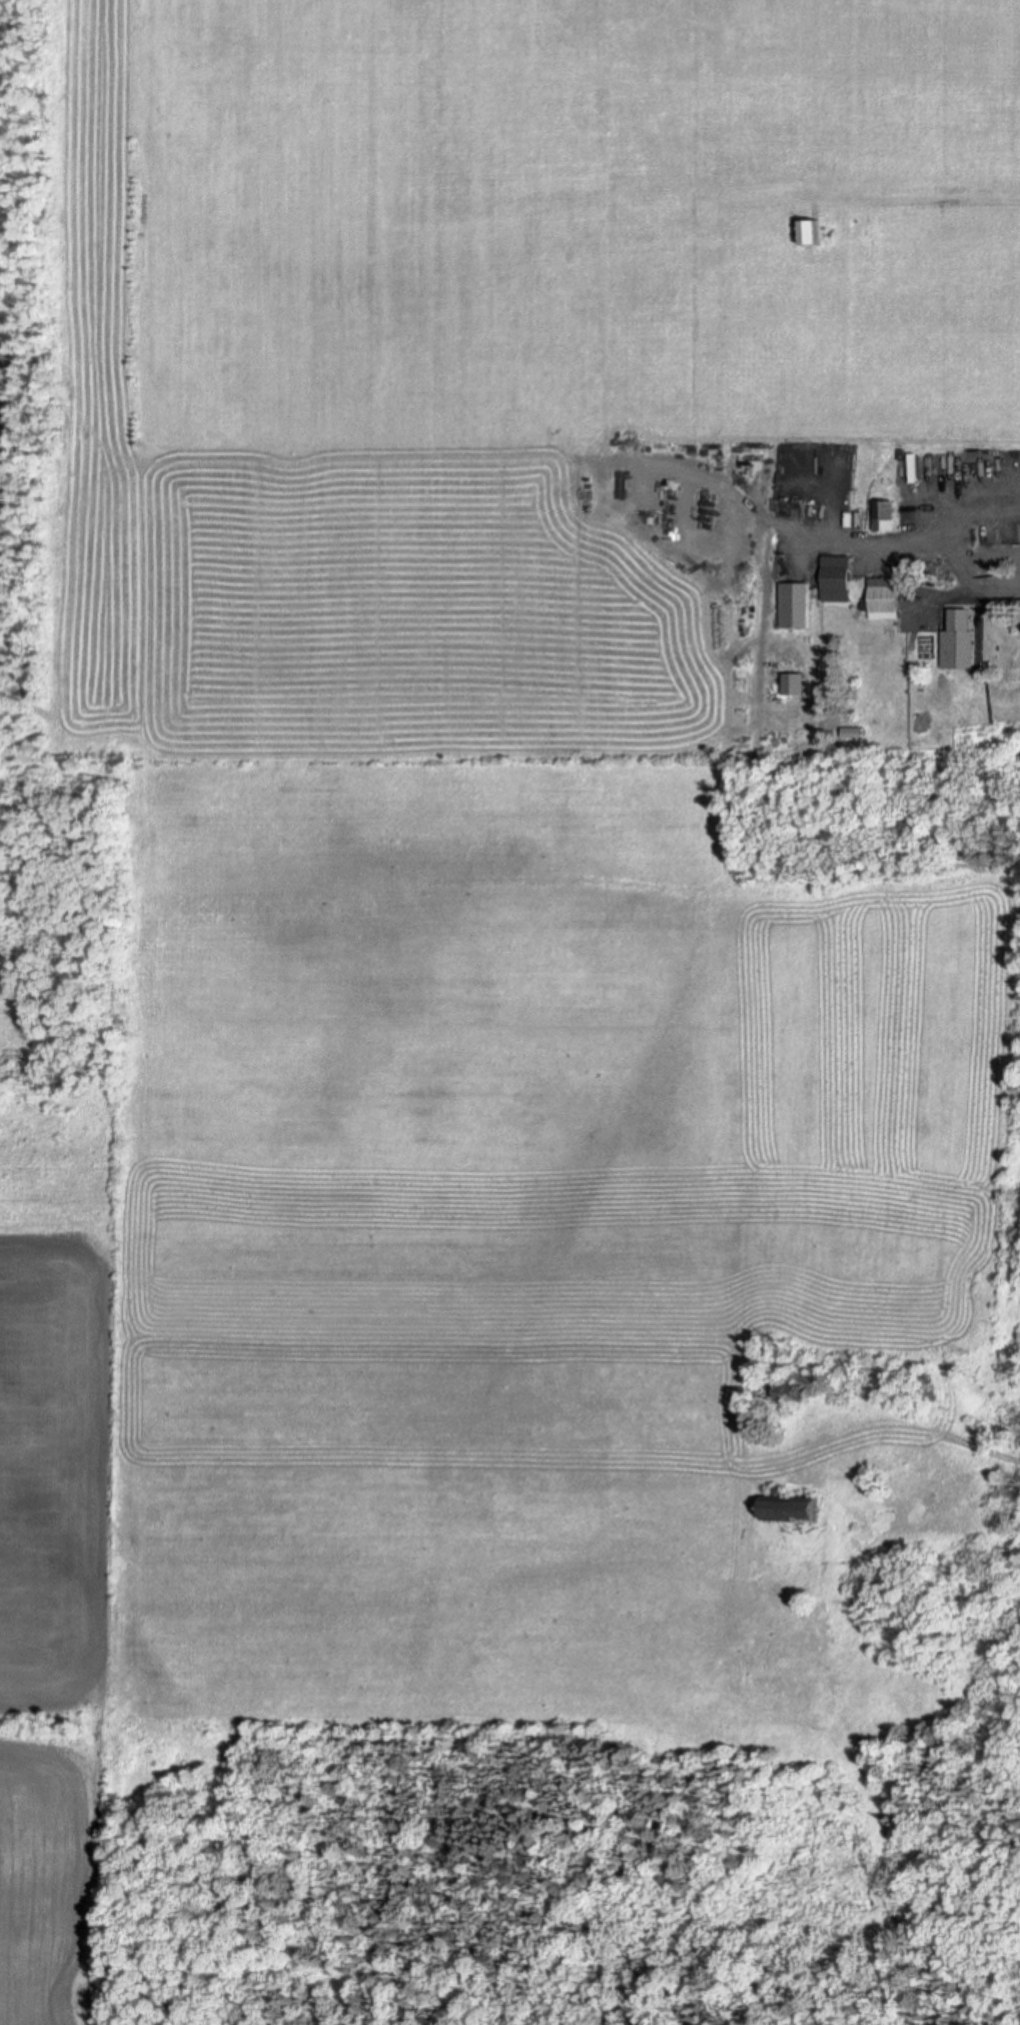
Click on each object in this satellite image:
road: (929, 206)
building: (809, 228)
building: (884, 508)
road: (949, 552)
building: (836, 577)
building: (883, 596)
building: (794, 602)
building: (960, 647)
building: (794, 681)
building: (853, 729)
park: (59, 1369)
building: (844, 1381)
building: (918, 1384)
building: (790, 1391)
building: (788, 1506)

